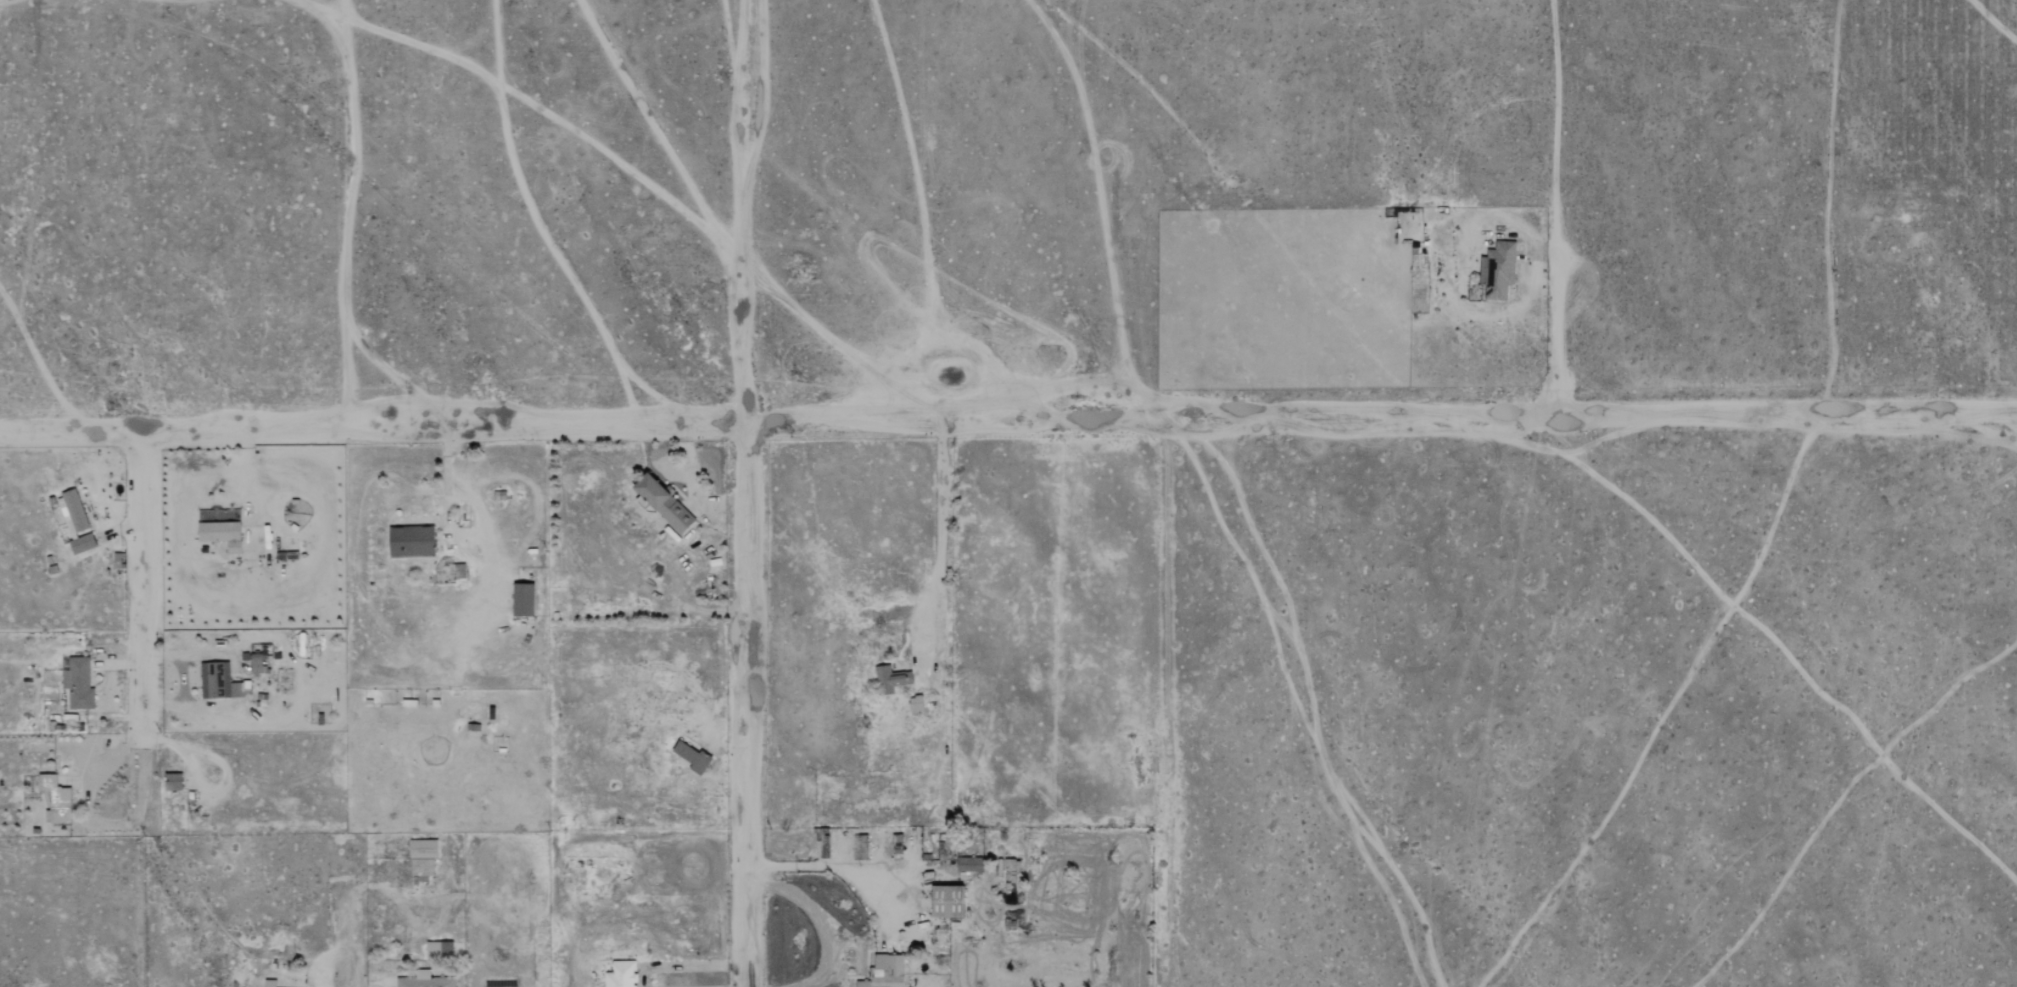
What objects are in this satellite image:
road: (1552, 204)
building: (1497, 270)
road: (1008, 416)
road: (446, 475)
road: (746, 493)
building: (662, 503)
building: (74, 521)
road: (937, 532)
building: (220, 534)
building: (410, 542)
building: (522, 599)
building: (252, 662)
building: (890, 679)
road: (182, 682)
building: (219, 682)
building: (77, 683)
building: (914, 704)
road: (150, 709)
building: (689, 757)
building: (172, 781)
building: (54, 799)
building: (861, 846)
building: (421, 857)
road: (833, 863)
building: (969, 864)
building: (946, 900)
road: (822, 920)
road: (350, 945)
building: (438, 948)
road: (686, 965)
building: (884, 972)
building: (620, 974)
building: (424, 980)
building: (269, 983)

